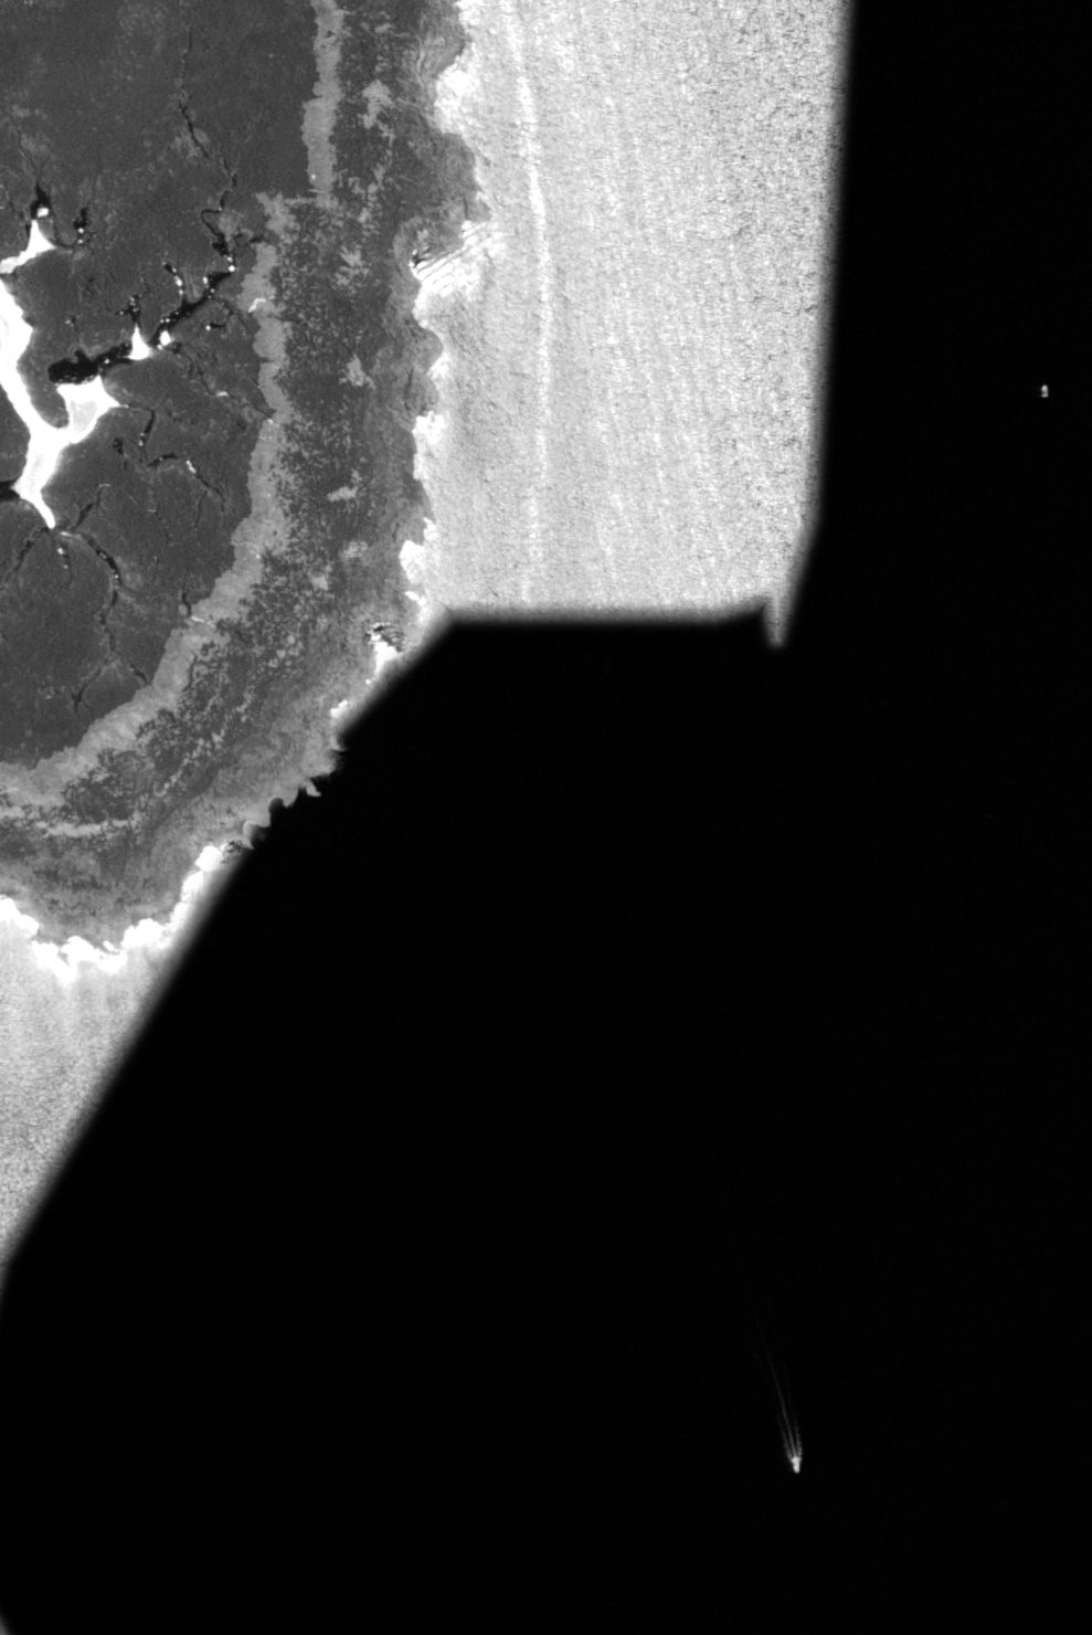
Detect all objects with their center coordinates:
river: (838, 211)

